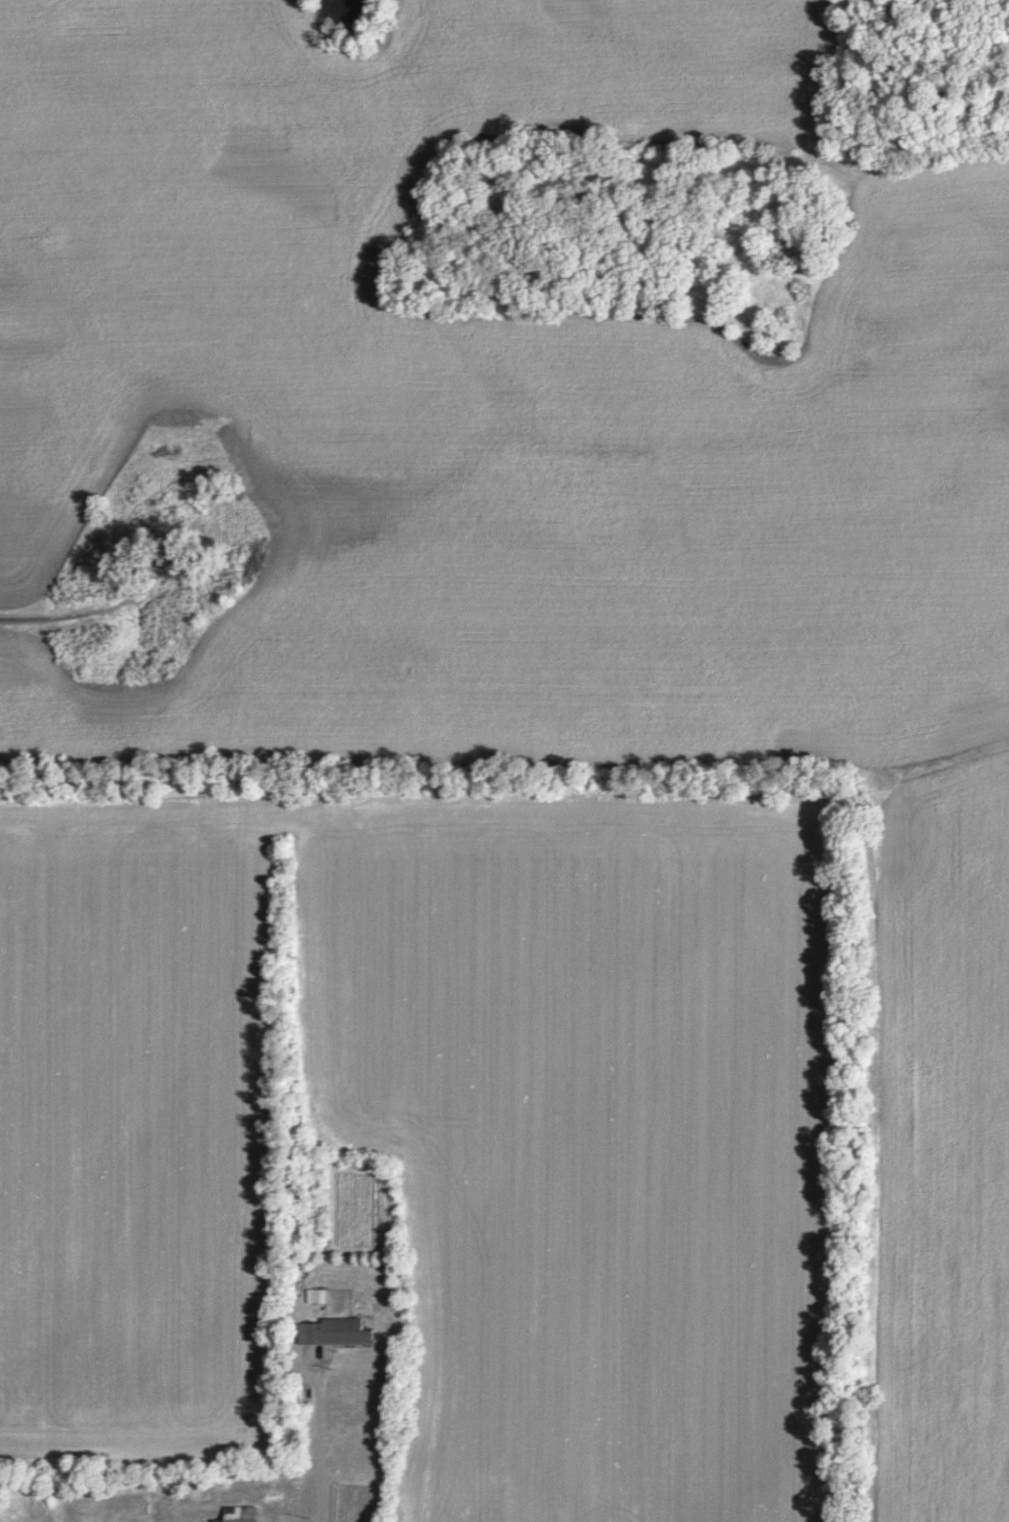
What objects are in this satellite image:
building: (318, 1297)
building: (334, 1331)
road: (321, 1442)
building: (238, 1514)

